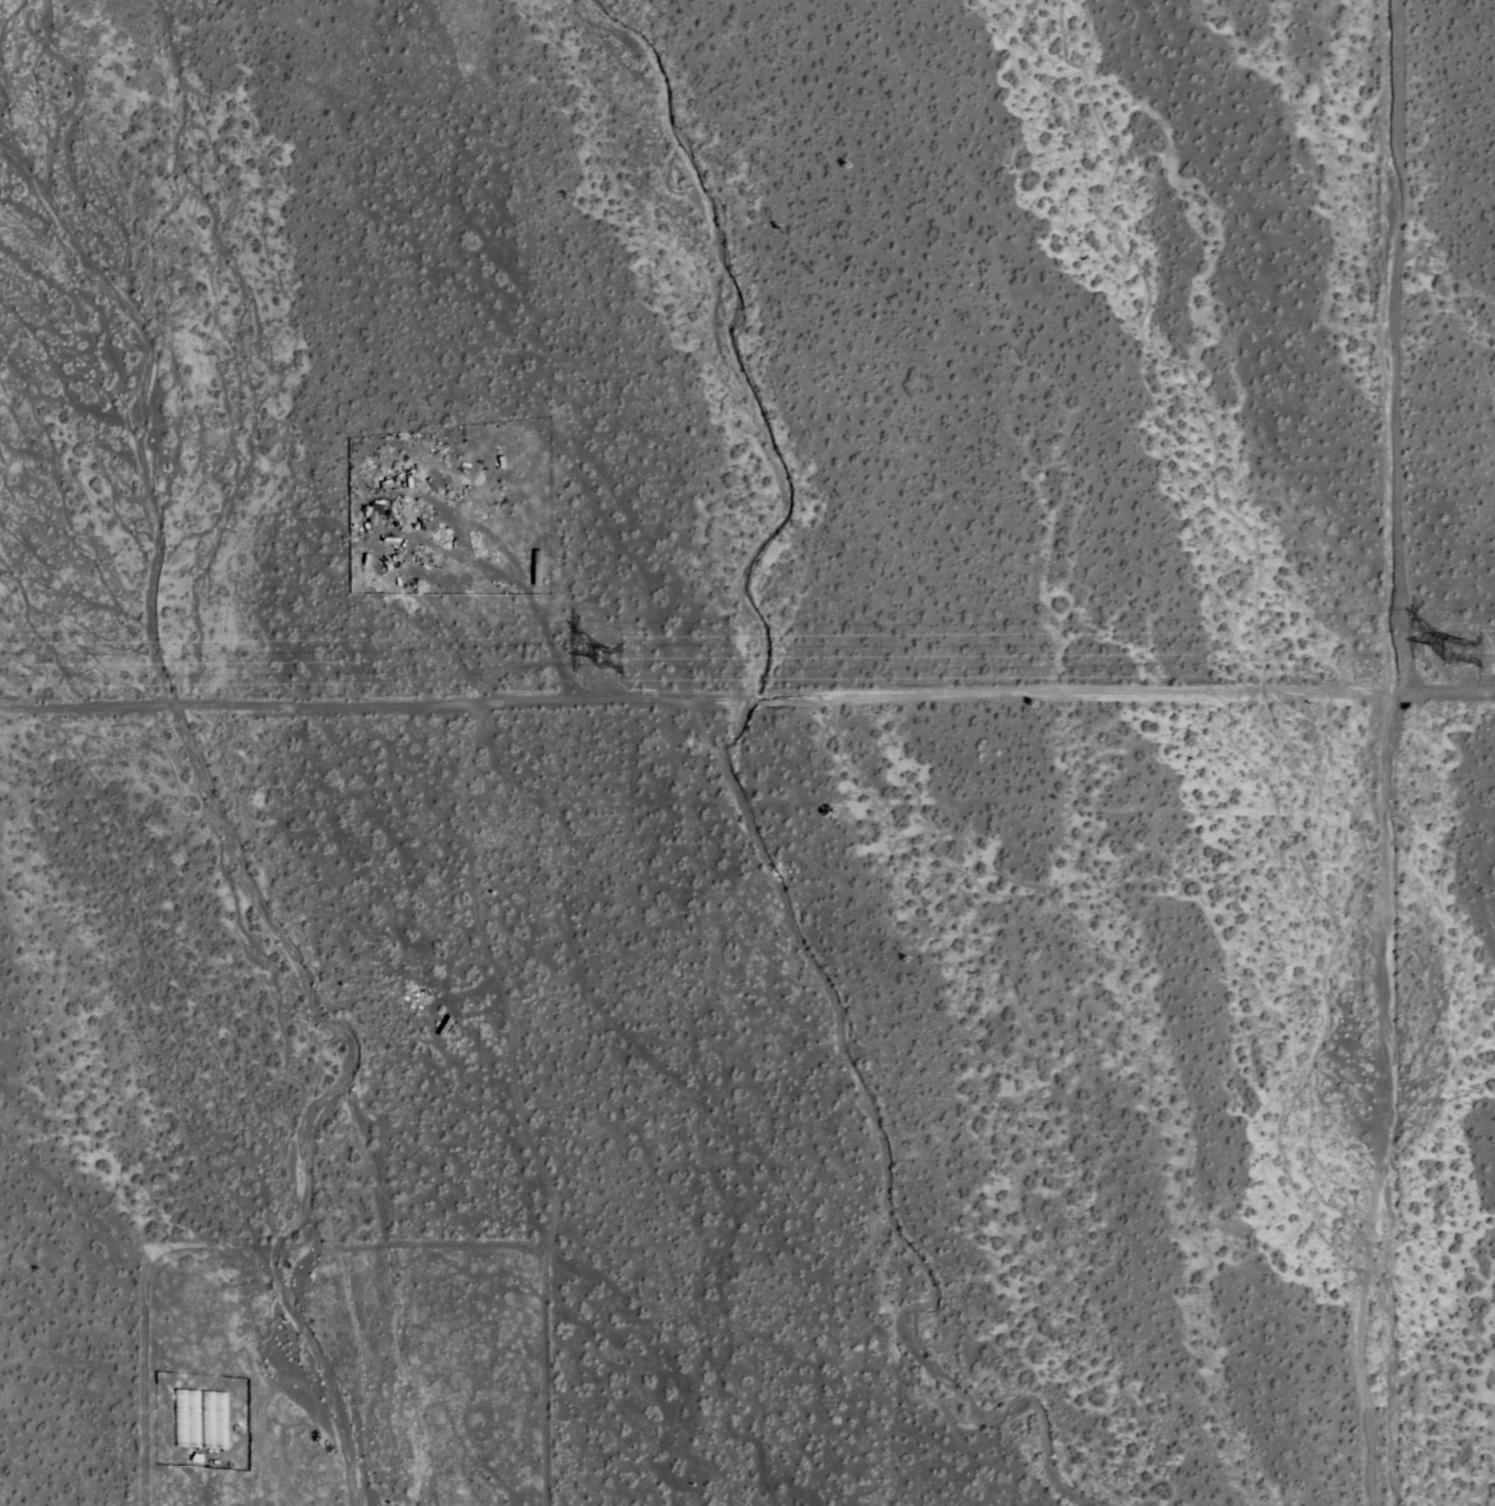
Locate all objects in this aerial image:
power tower: (1476, 663)
power tower: (623, 667)
road: (747, 701)
road: (1391, 753)

